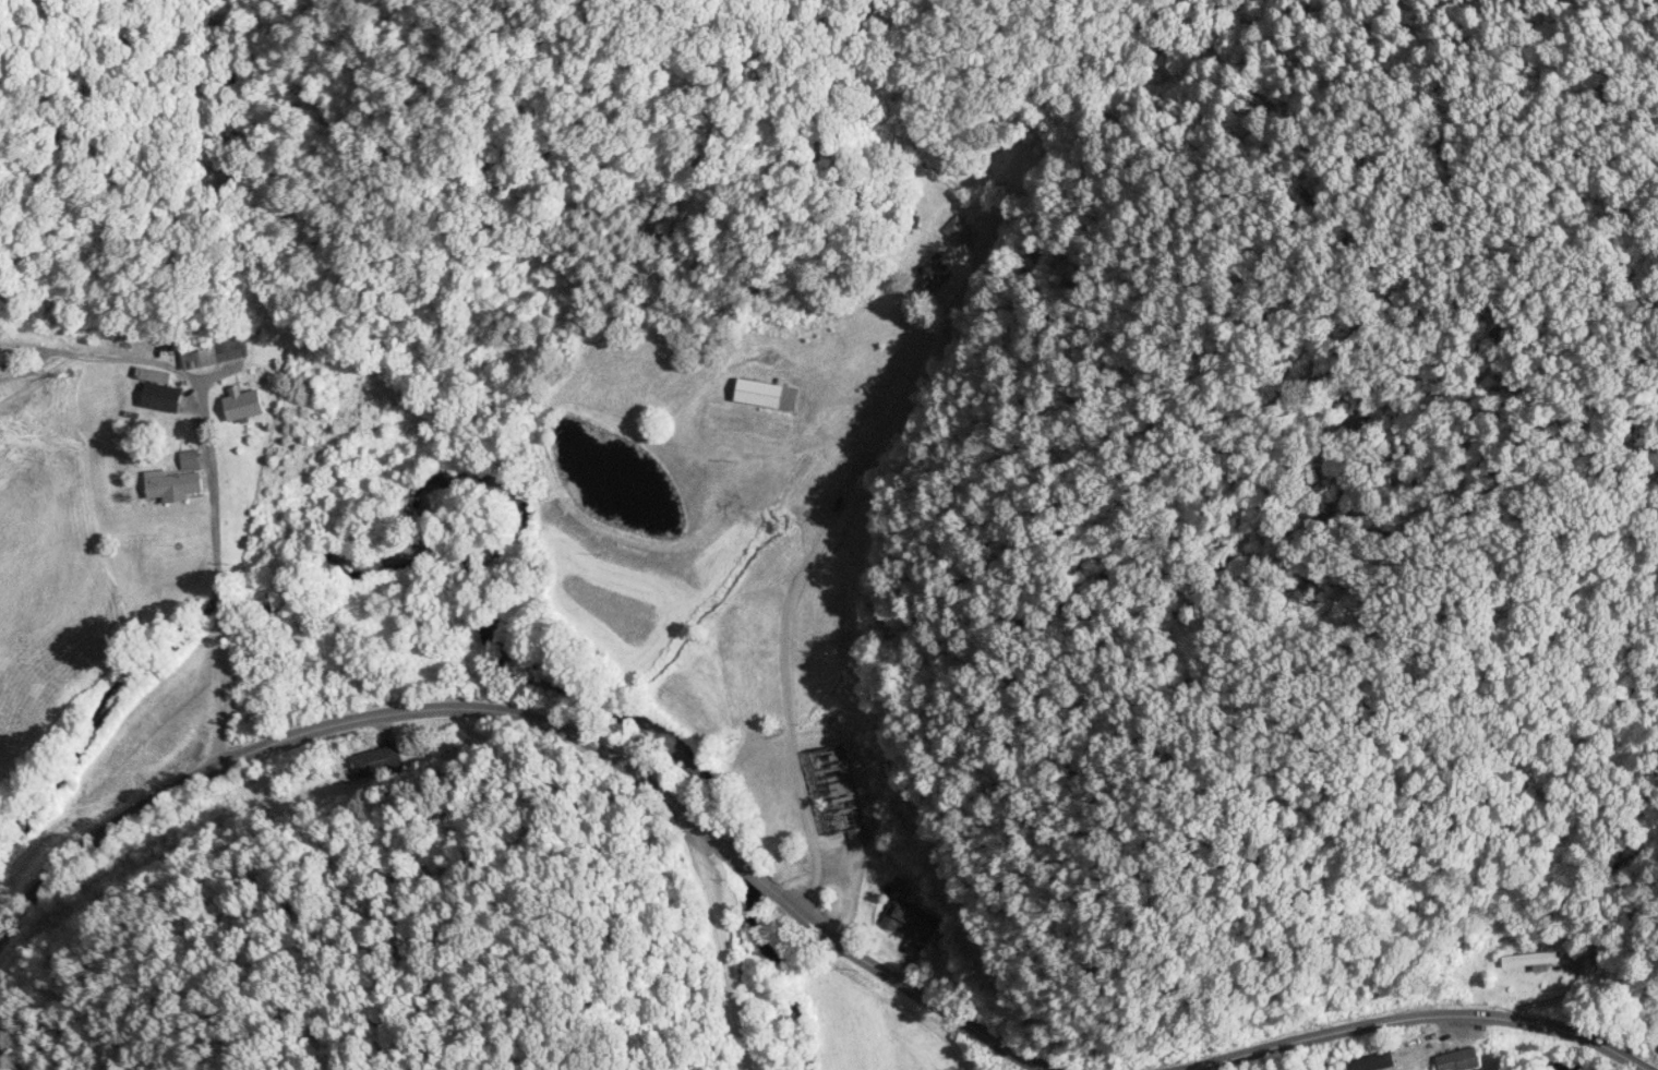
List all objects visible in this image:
building: (958, 230)
building: (938, 278)
building: (215, 353)
building: (247, 386)
building: (761, 395)
building: (163, 397)
road: (880, 421)
building: (191, 460)
building: (173, 486)
road: (375, 714)
building: (839, 795)
building: (909, 921)
road: (717, 946)
building: (1531, 960)
road: (897, 985)
road: (1406, 1013)
building: (1464, 1060)

